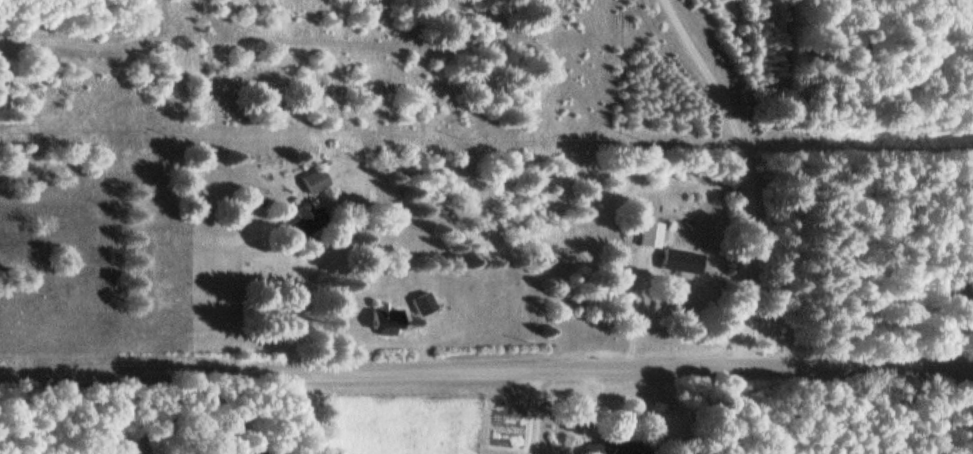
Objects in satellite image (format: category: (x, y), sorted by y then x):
road: (749, 172)
building: (315, 178)
building: (305, 218)
building: (652, 233)
building: (684, 260)
road: (305, 288)
building: (424, 303)
road: (640, 306)
building: (248, 310)
building: (387, 317)
road: (957, 322)
road: (486, 367)
road: (593, 401)
road: (537, 410)
road: (177, 415)
building: (617, 446)

